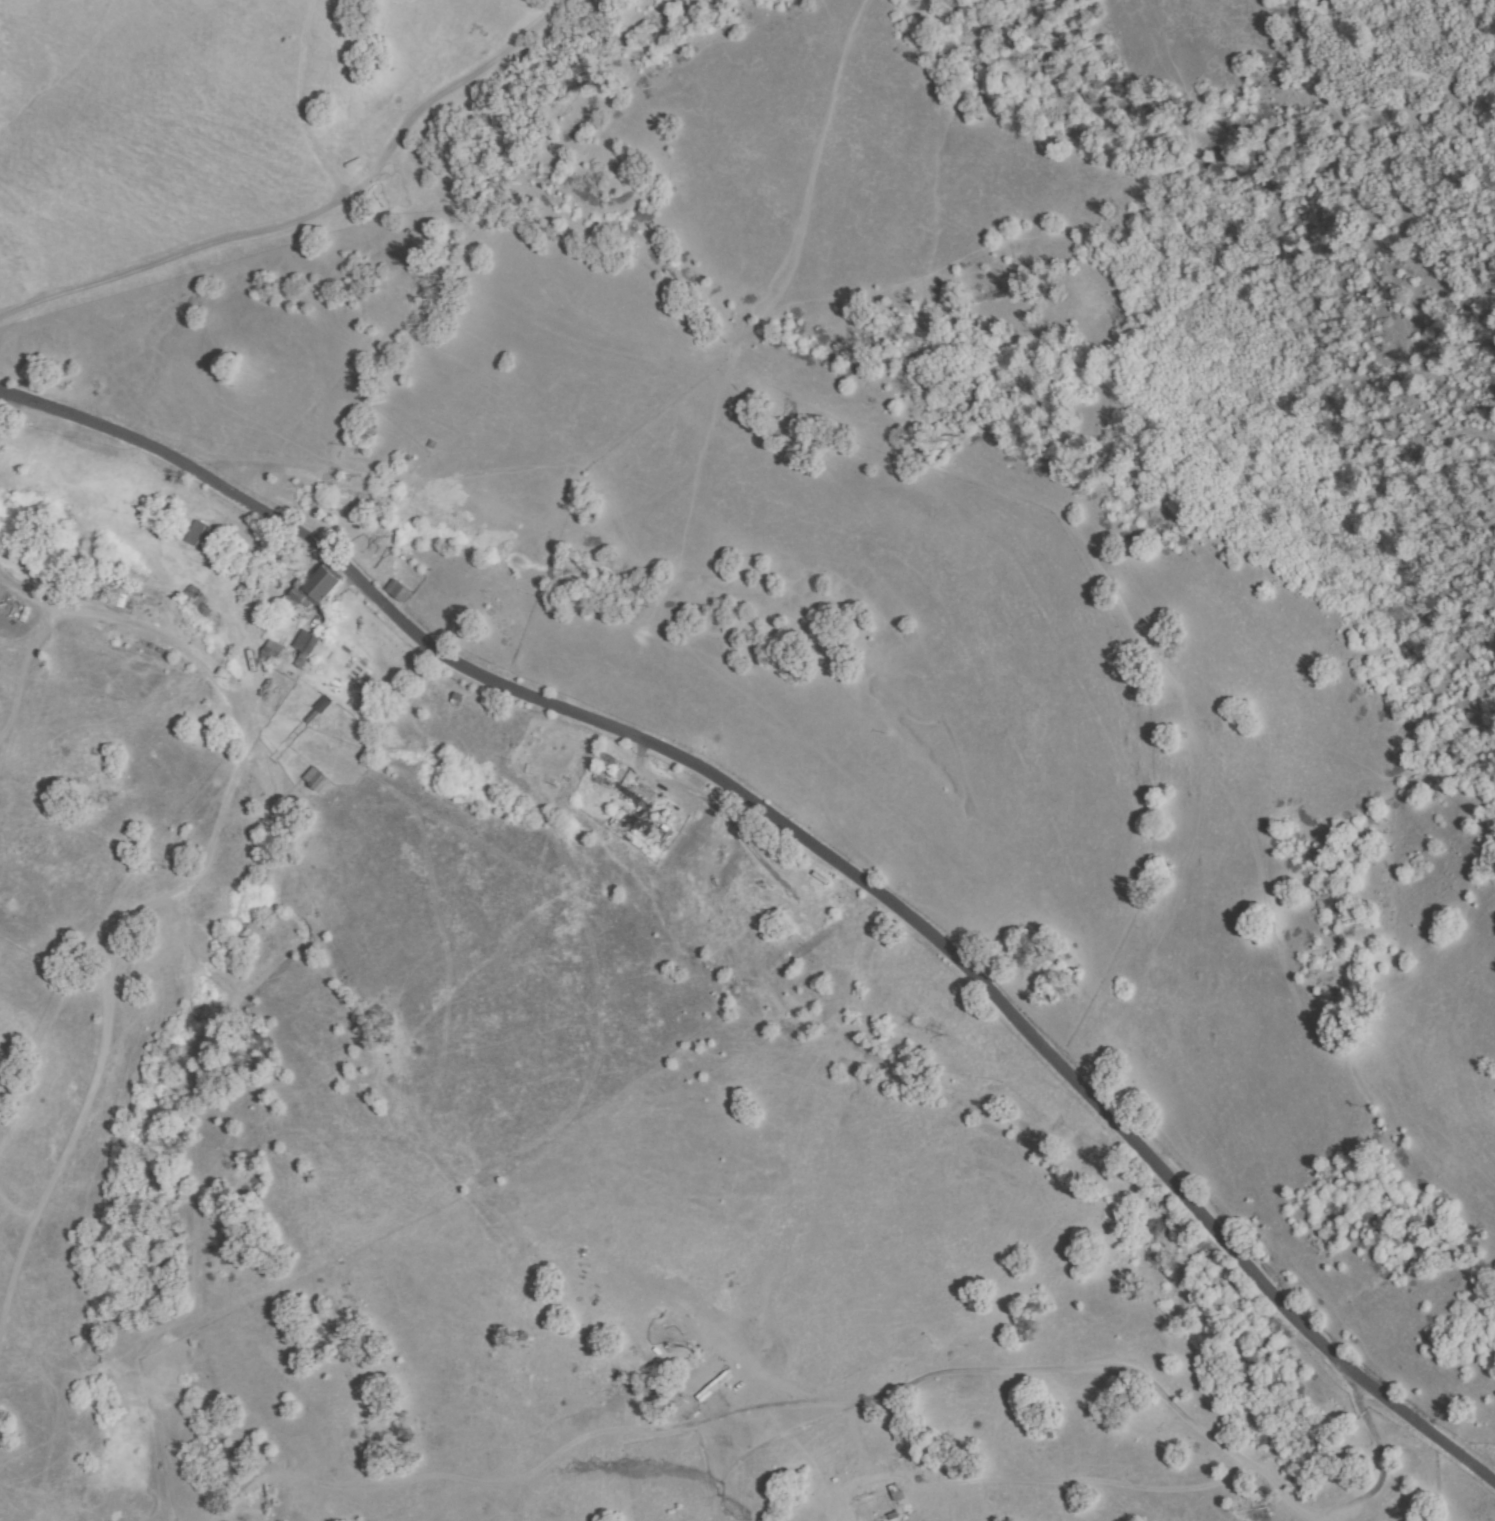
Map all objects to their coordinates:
road: (314, 212)
building: (194, 533)
building: (209, 541)
building: (315, 589)
building: (398, 591)
building: (189, 593)
building: (199, 604)
building: (305, 645)
building: (270, 654)
building: (319, 709)
building: (315, 780)
building: (247, 785)
road: (811, 844)
road: (164, 894)
building: (891, 1493)

